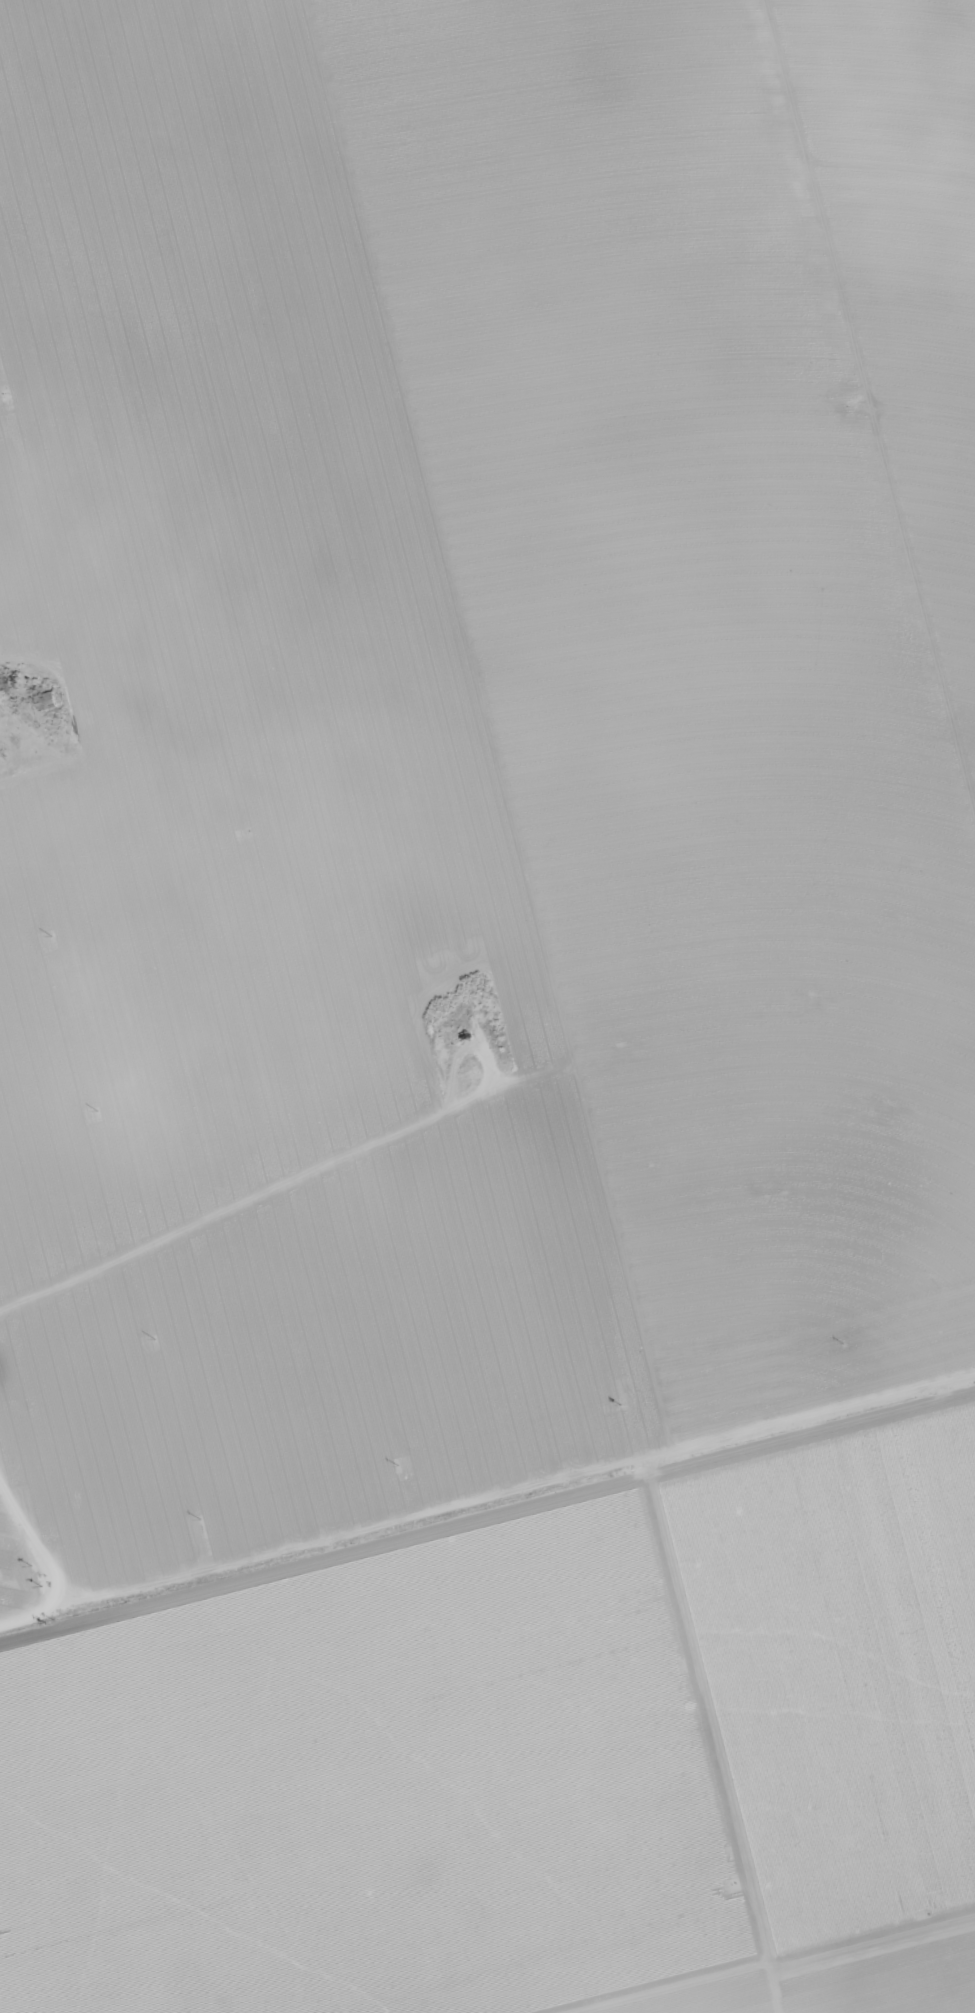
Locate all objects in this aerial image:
road: (440, 1525)

